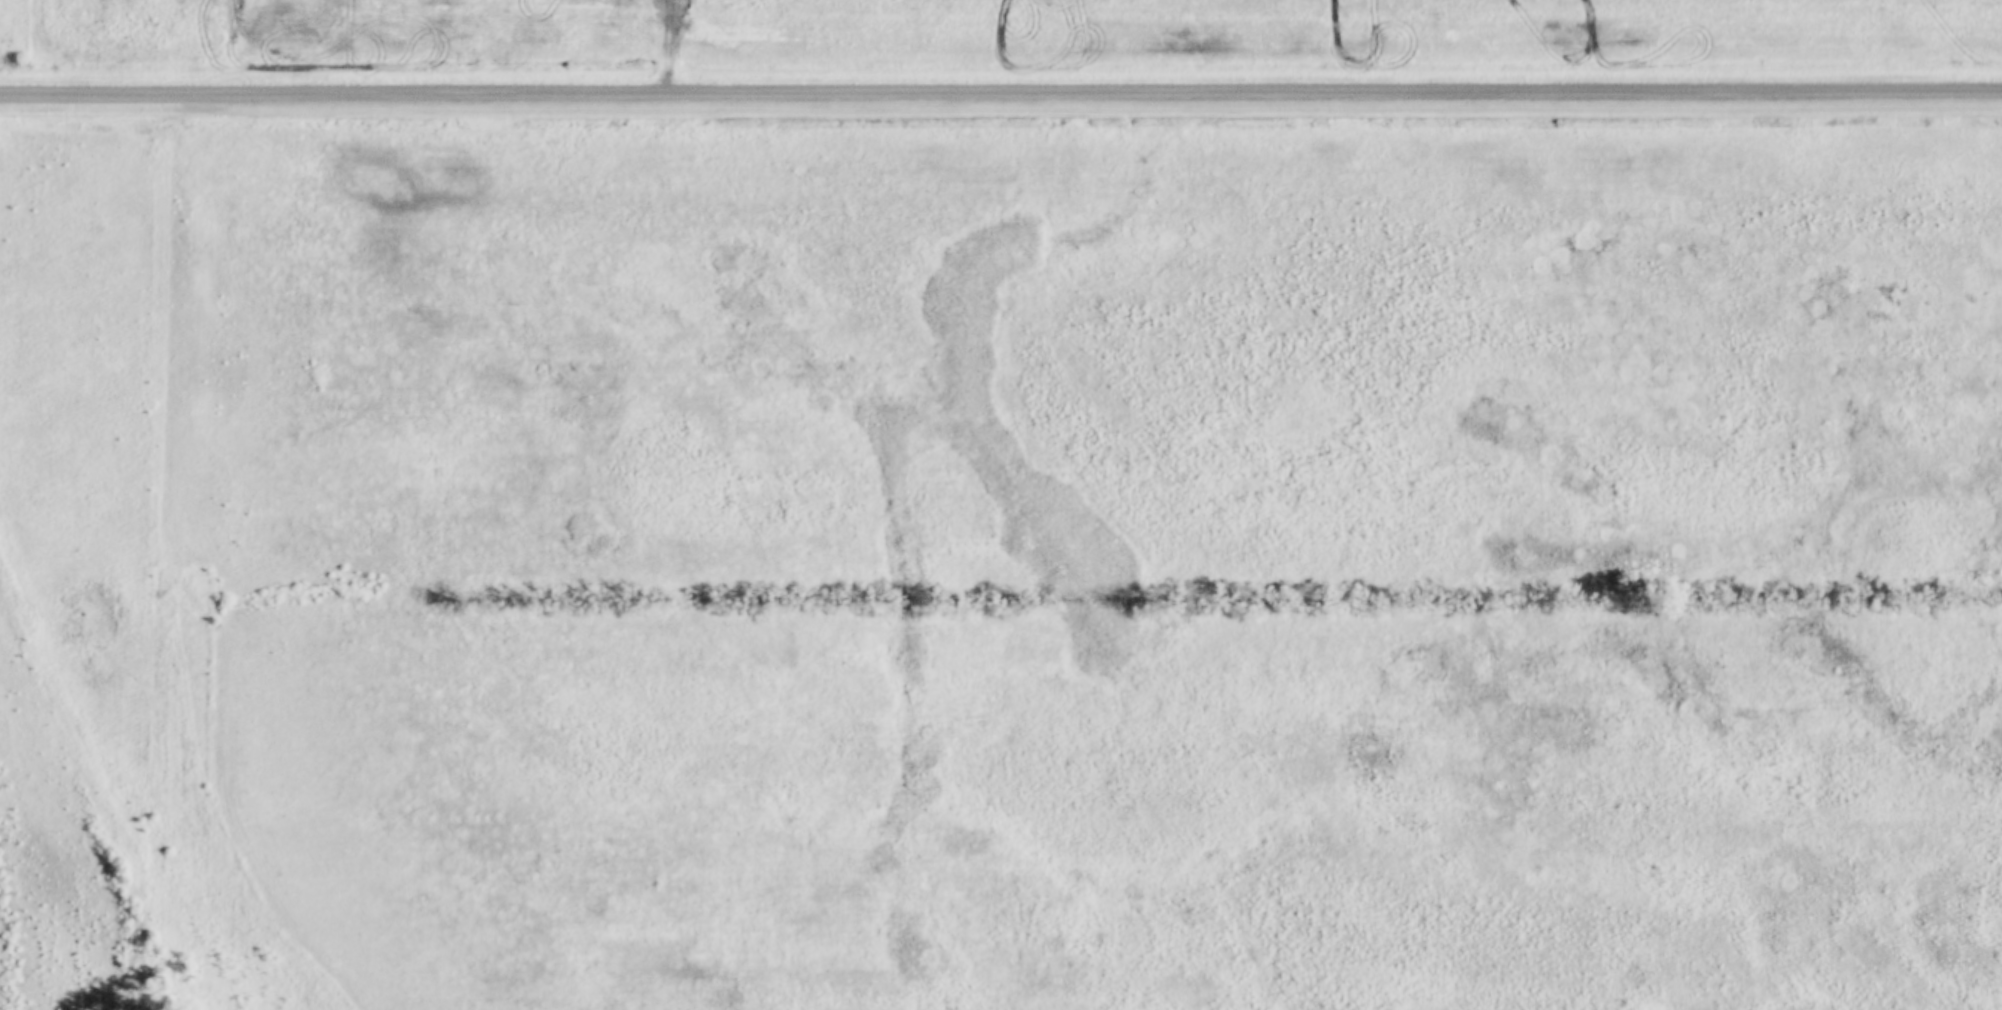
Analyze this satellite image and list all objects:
road: (1001, 92)

